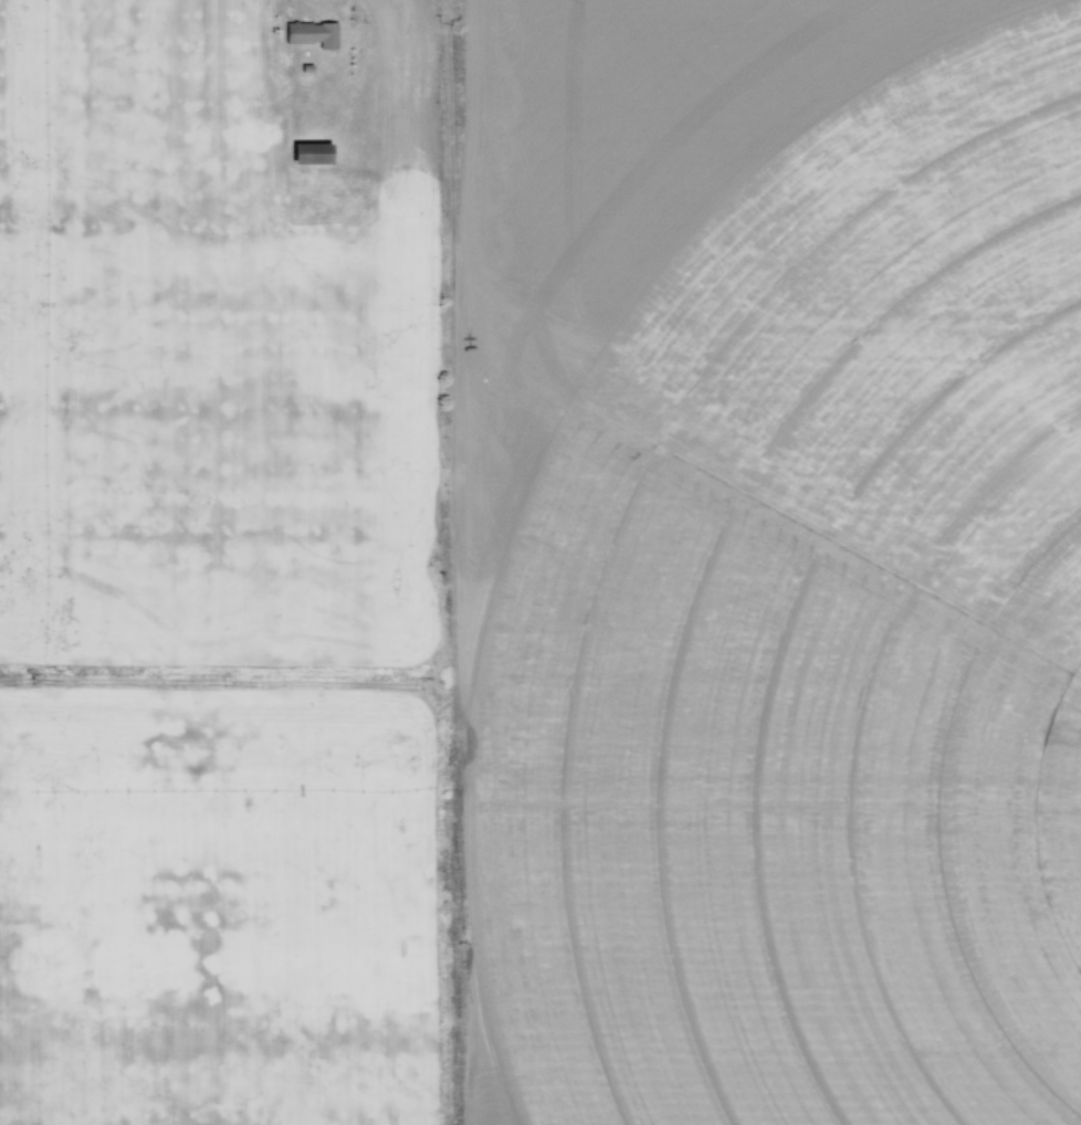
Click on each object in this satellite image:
building: (312, 33)
building: (311, 154)

